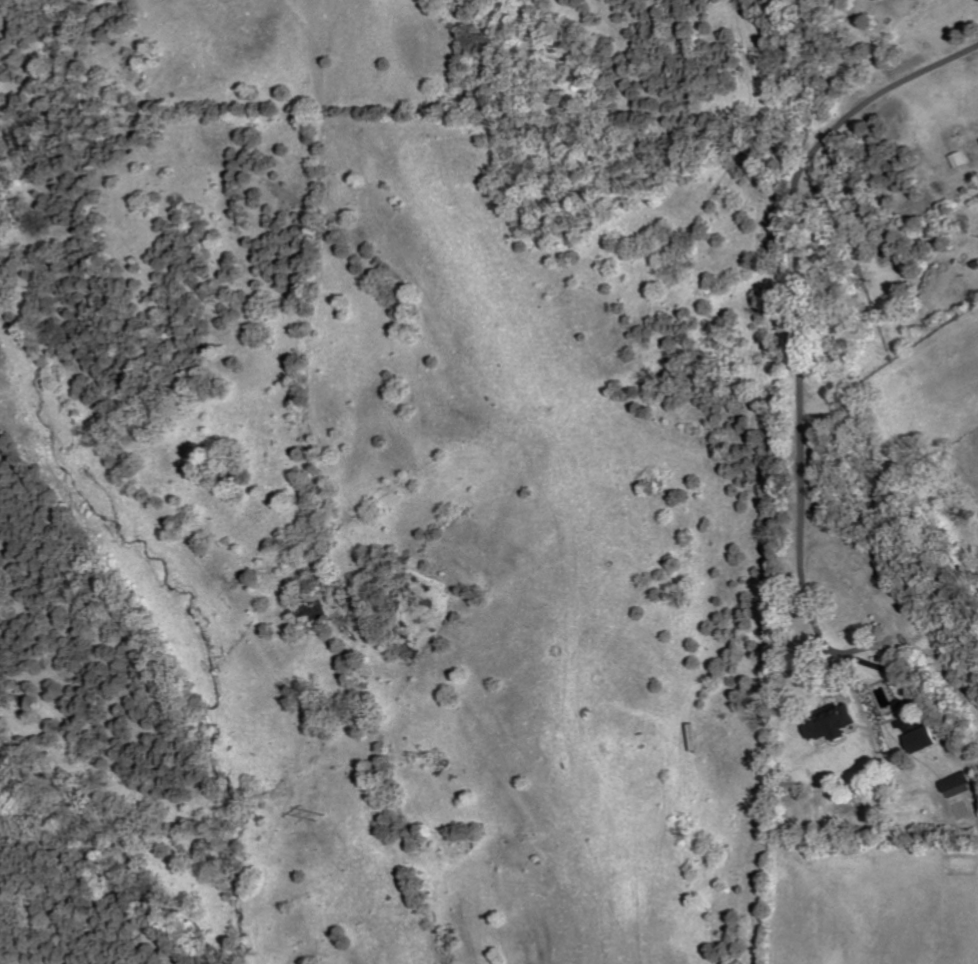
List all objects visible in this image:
road: (849, 6)
building: (962, 159)
building: (836, 722)
building: (927, 739)
building: (962, 785)

